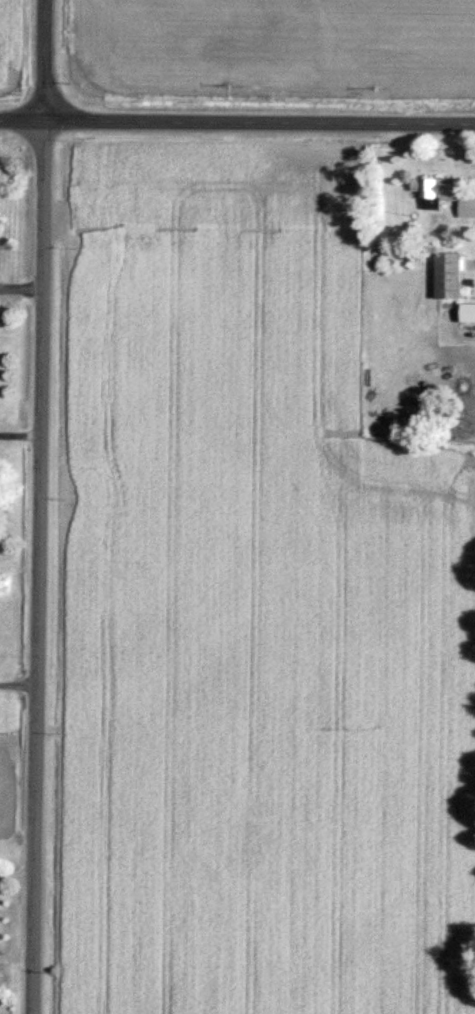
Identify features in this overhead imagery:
road: (48, 61)
road: (237, 123)
building: (447, 196)
building: (452, 277)
road: (22, 433)
road: (43, 568)
road: (21, 685)

